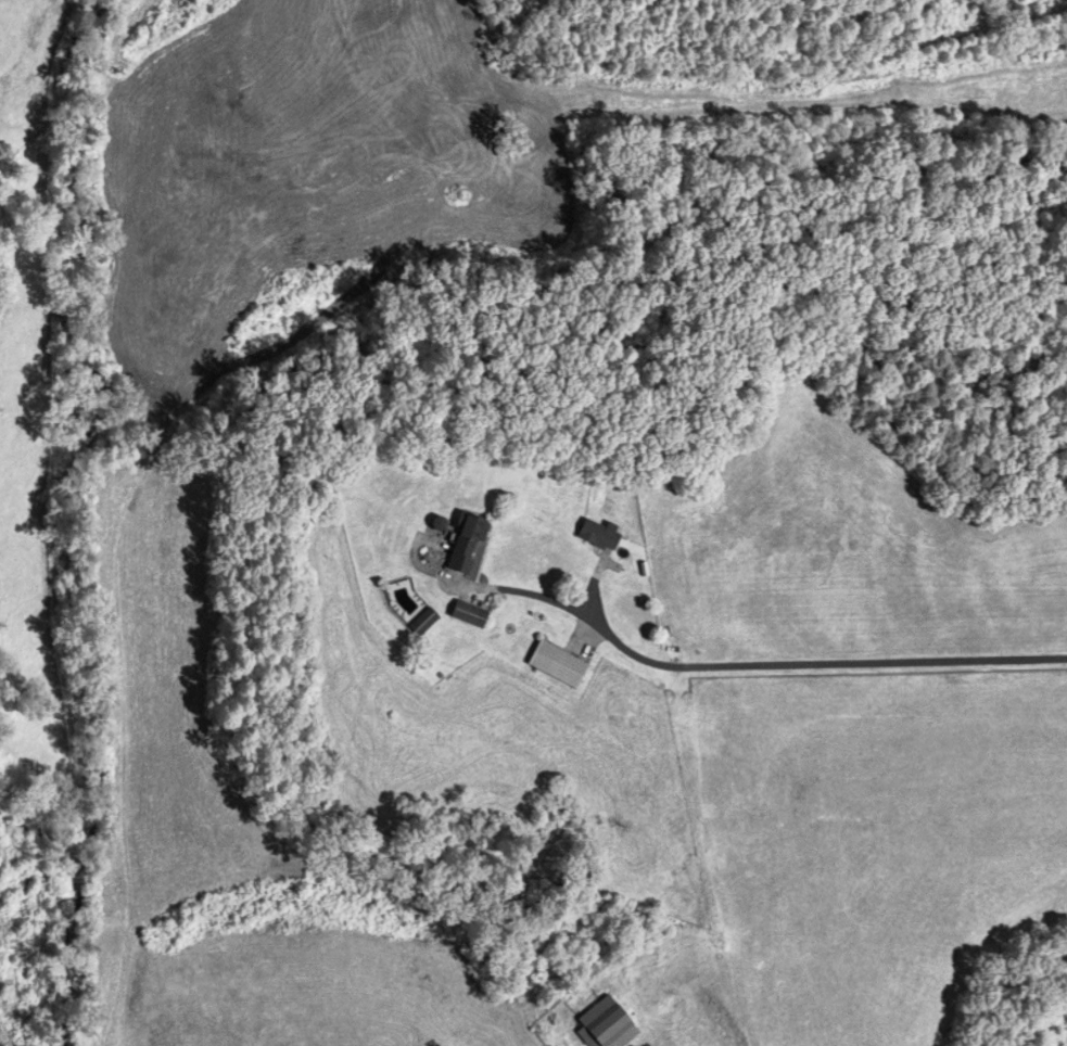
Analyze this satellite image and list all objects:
building: (600, 536)
building: (468, 546)
road: (581, 614)
building: (469, 615)
building: (423, 623)
building: (558, 665)
road: (876, 671)
road: (681, 828)
building: (607, 1025)

